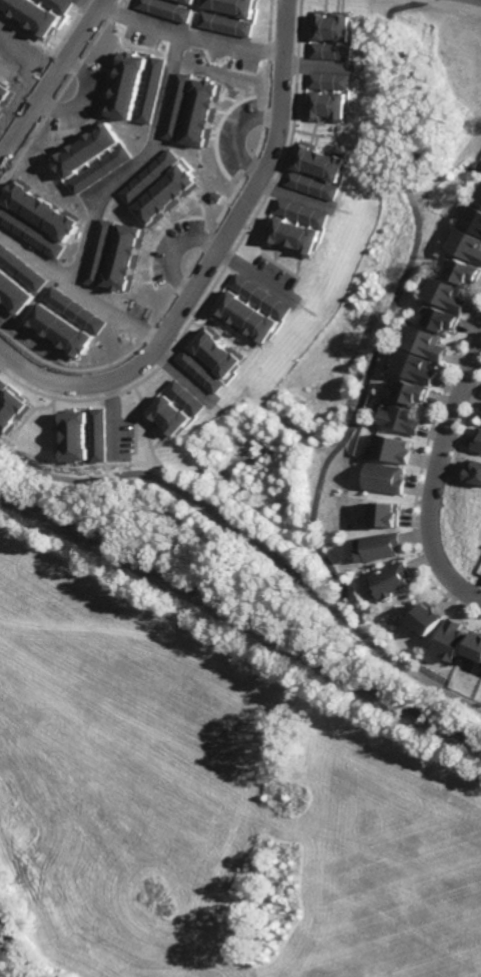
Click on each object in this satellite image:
building: (187, 1)
building: (61, 4)
building: (164, 9)
building: (31, 15)
building: (224, 24)
building: (331, 35)
road: (184, 37)
road: (48, 75)
road: (20, 76)
building: (330, 81)
building: (134, 87)
building: (173, 105)
building: (329, 106)
building: (199, 112)
building: (91, 155)
building: (319, 161)
road: (132, 164)
building: (147, 175)
building: (312, 185)
building: (164, 195)
building: (478, 198)
building: (302, 212)
building: (472, 219)
building: (295, 237)
building: (466, 245)
building: (97, 251)
road: (205, 256)
building: (122, 257)
building: (463, 273)
road: (76, 288)
building: (14, 292)
building: (445, 295)
building: (253, 309)
building: (441, 321)
building: (61, 329)
building: (423, 344)
building: (219, 353)
building: (385, 366)
building: (413, 369)
building: (202, 371)
building: (3, 385)
building: (411, 395)
building: (13, 409)
road: (114, 415)
building: (399, 421)
road: (146, 423)
building: (480, 423)
building: (101, 434)
building: (77, 436)
building: (477, 444)
building: (391, 448)
building: (383, 478)
road: (427, 479)
building: (385, 514)
road: (257, 542)
building: (379, 547)
building: (350, 569)
building: (391, 577)
railway: (240, 618)
building: (451, 638)
building: (475, 646)
building: (423, 661)

